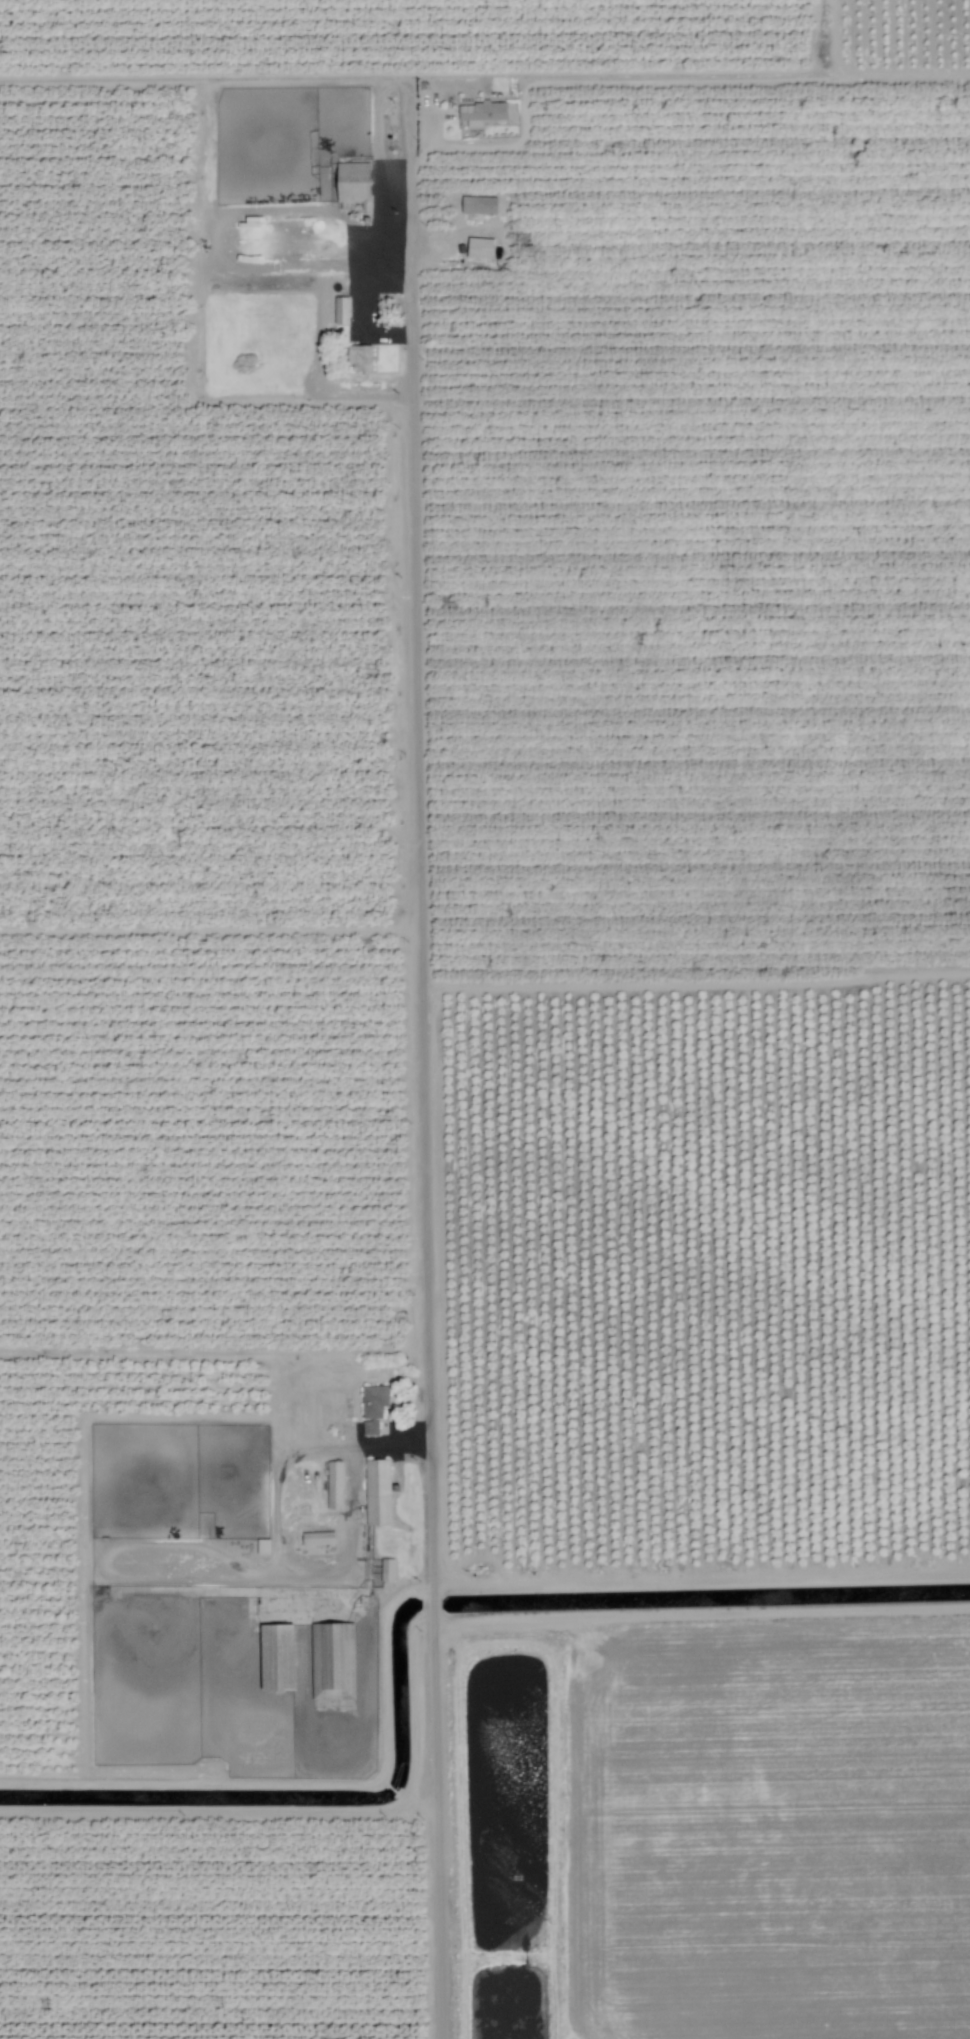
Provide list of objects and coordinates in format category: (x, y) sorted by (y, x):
road: (209, 79)
building: (482, 114)
road: (501, 146)
building: (354, 193)
building: (479, 208)
road: (315, 209)
building: (481, 250)
building: (341, 313)
road: (199, 348)
building: (361, 360)
road: (432, 1058)
building: (374, 1409)
building: (335, 1487)
building: (378, 1494)
building: (303, 1512)
building: (318, 1541)
building: (264, 1549)
building: (388, 1572)
building: (277, 1660)
building: (333, 1664)

